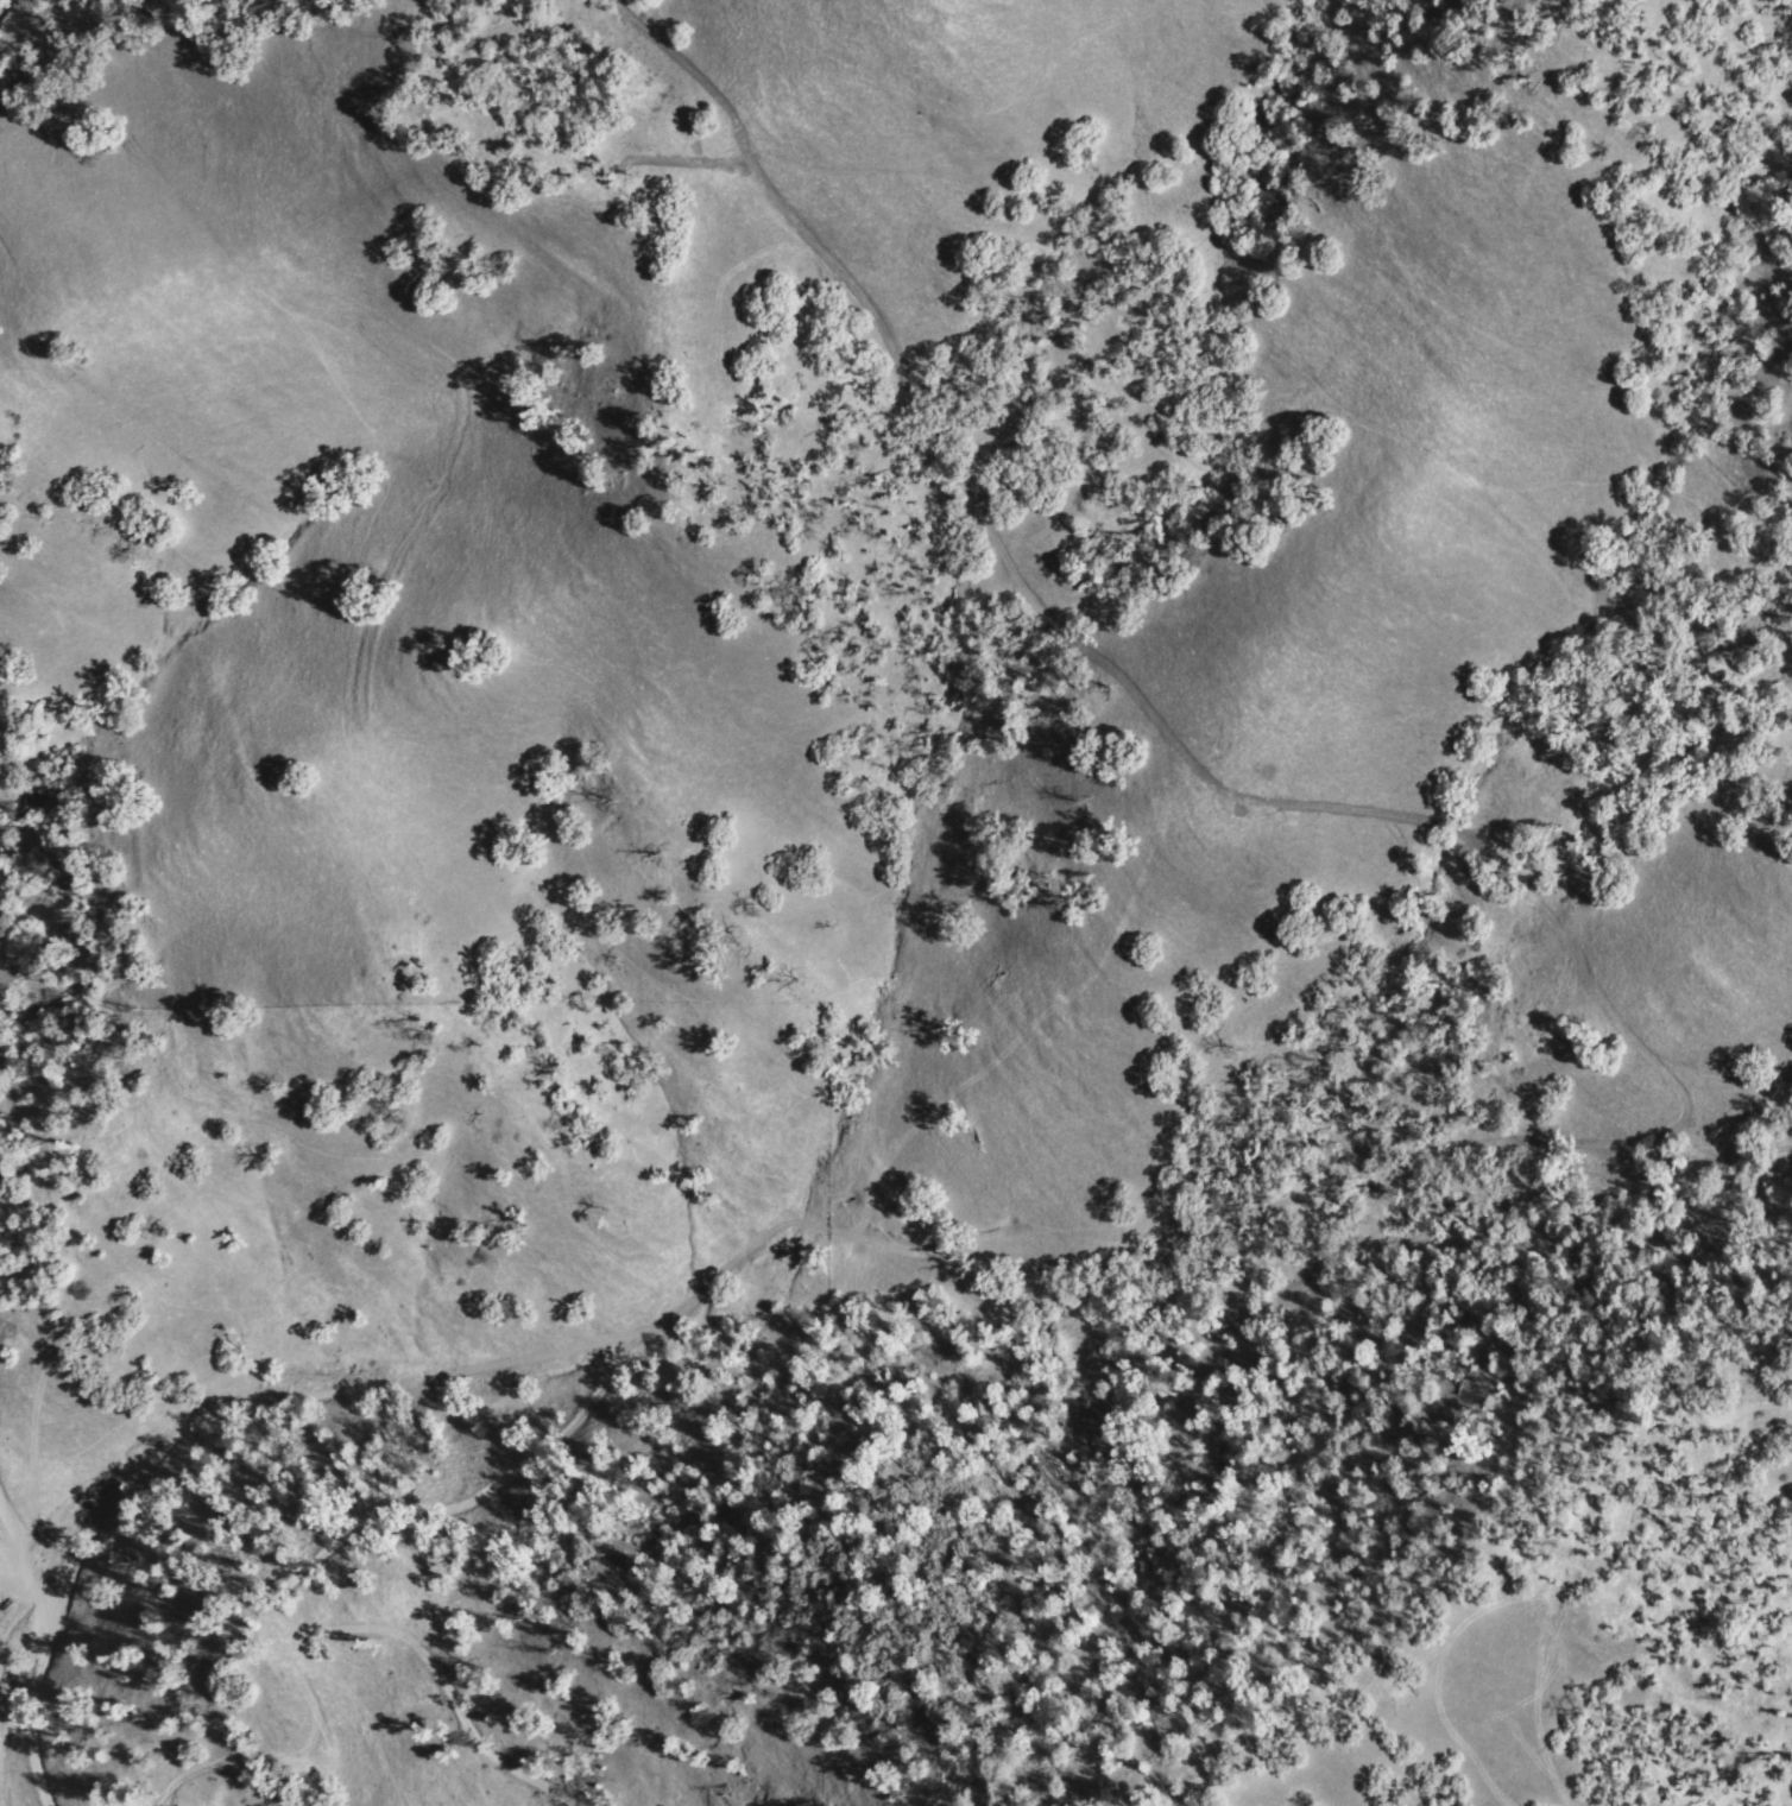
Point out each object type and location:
road: (23, 19)
road: (856, 1098)
road: (52, 1659)

